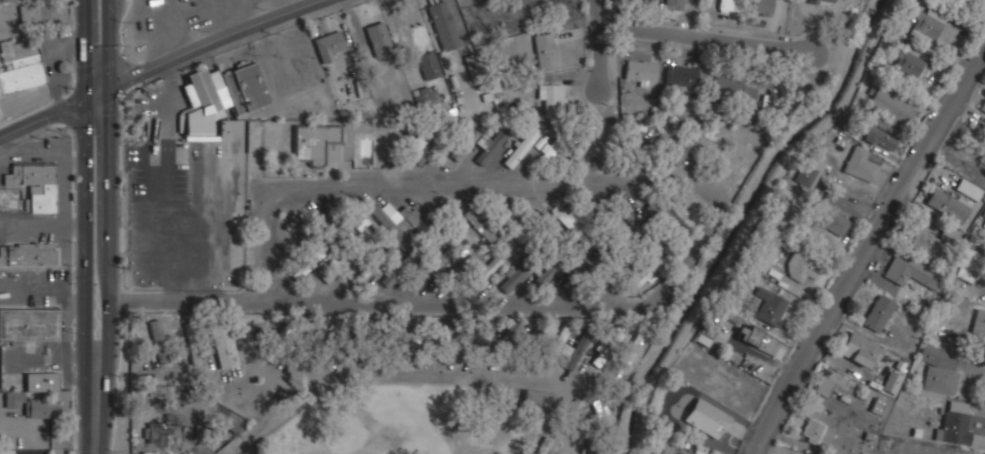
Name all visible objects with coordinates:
building: (7, 0)
building: (642, 0)
building: (822, 3)
building: (674, 4)
building: (728, 5)
building: (766, 7)
building: (852, 11)
building: (31, 13)
building: (444, 25)
building: (926, 30)
building: (379, 39)
road: (711, 40)
road: (219, 43)
road: (109, 44)
building: (329, 45)
road: (86, 48)
road: (601, 48)
building: (545, 51)
building: (907, 61)
building: (429, 64)
building: (641, 72)
building: (21, 75)
building: (681, 77)
traffic signals: (110, 88)
building: (246, 88)
building: (732, 88)
road: (98, 93)
building: (425, 96)
building: (551, 97)
traffic signals: (86, 98)
building: (199, 103)
building: (890, 105)
building: (983, 106)
road: (43, 117)
building: (881, 139)
building: (314, 142)
building: (464, 144)
building: (489, 146)
building: (522, 147)
building: (686, 147)
building: (425, 150)
building: (577, 154)
building: (861, 165)
building: (811, 169)
building: (34, 185)
building: (969, 189)
building: (948, 205)
building: (779, 206)
building: (984, 214)
building: (414, 219)
building: (358, 220)
building: (477, 220)
building: (662, 220)
building: (567, 221)
building: (633, 221)
building: (390, 222)
building: (835, 222)
building: (541, 226)
building: (333, 228)
building: (466, 240)
building: (927, 243)
road: (693, 251)
road: (864, 252)
building: (28, 255)
building: (764, 257)
building: (307, 263)
building: (968, 264)
building: (335, 268)
building: (805, 268)
building: (427, 270)
building: (487, 270)
road: (109, 271)
building: (396, 271)
building: (912, 271)
building: (517, 274)
building: (546, 274)
road: (86, 276)
building: (603, 279)
building: (770, 306)
building: (879, 313)
building: (979, 323)
building: (28, 324)
building: (511, 332)
building: (287, 335)
building: (436, 335)
building: (758, 339)
building: (483, 340)
building: (158, 341)
building: (193, 343)
building: (534, 343)
building: (224, 344)
building: (407, 344)
building: (606, 346)
building: (633, 348)
building: (858, 349)
building: (575, 350)
building: (939, 370)
road: (423, 377)
building: (42, 381)
building: (891, 382)
building: (835, 385)
building: (161, 390)
building: (535, 400)
building: (30, 404)
building: (955, 423)
building: (817, 433)
building: (157, 435)
building: (543, 446)
building: (591, 450)

